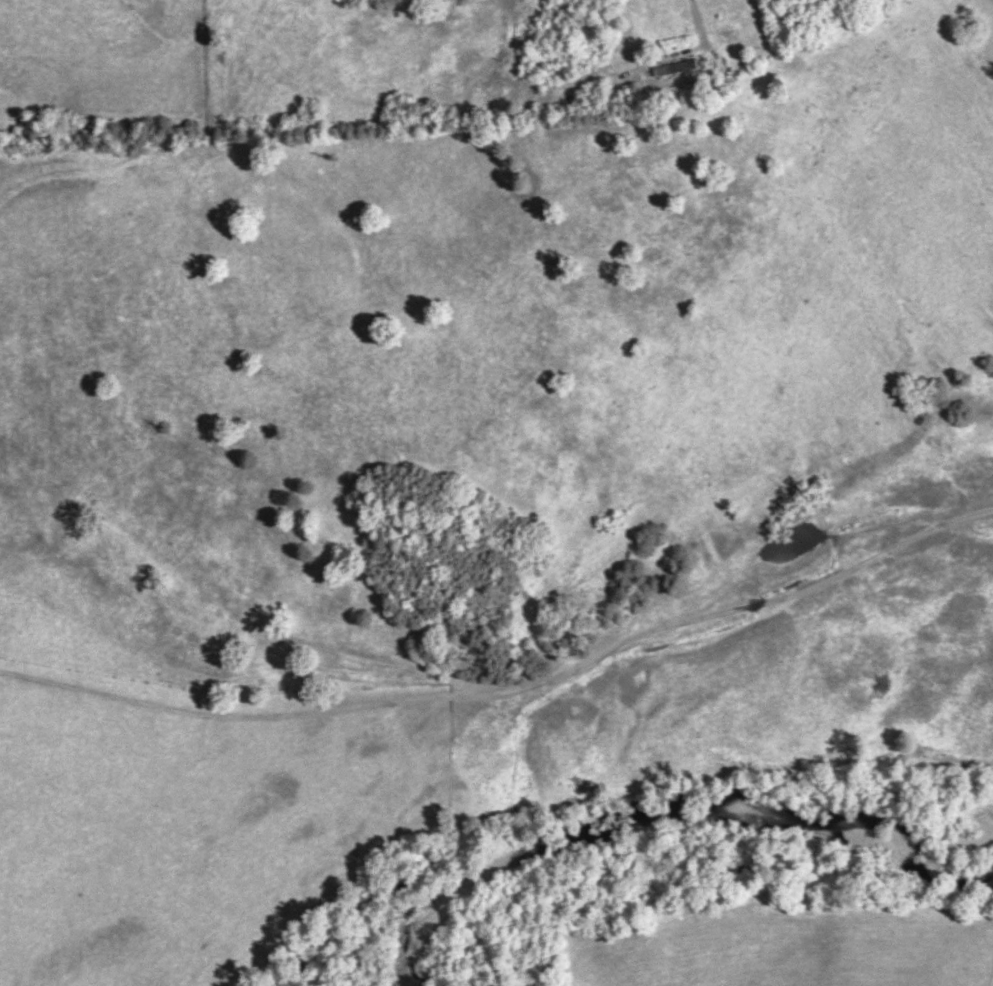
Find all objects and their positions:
road: (980, 484)

